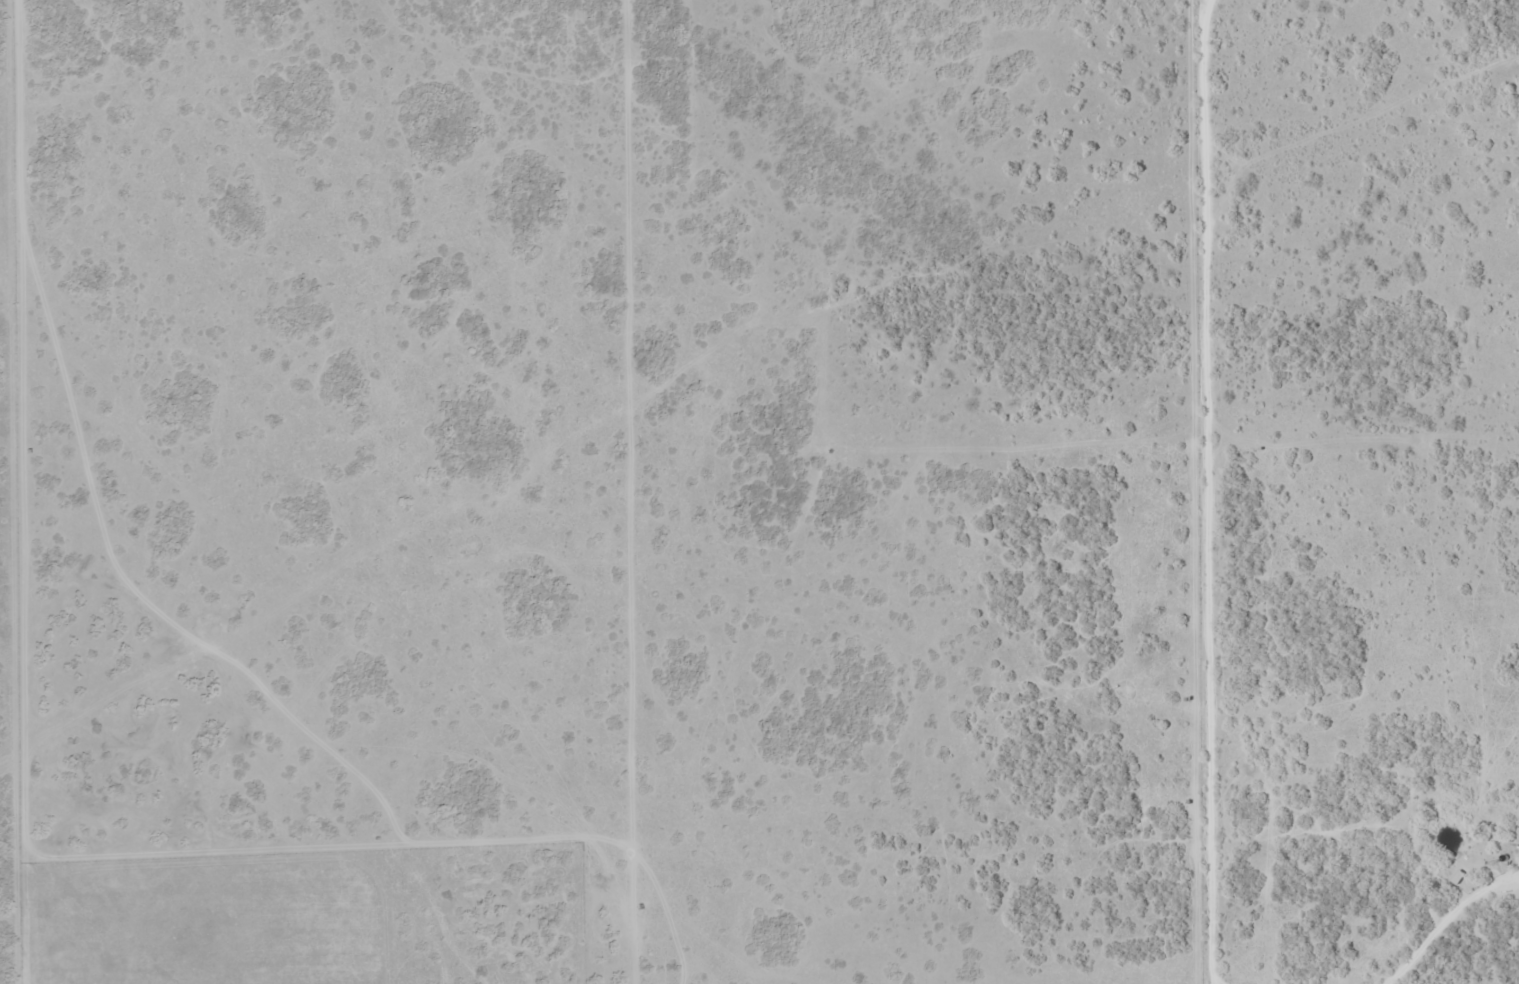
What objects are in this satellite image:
road: (597, 492)
road: (720, 609)

